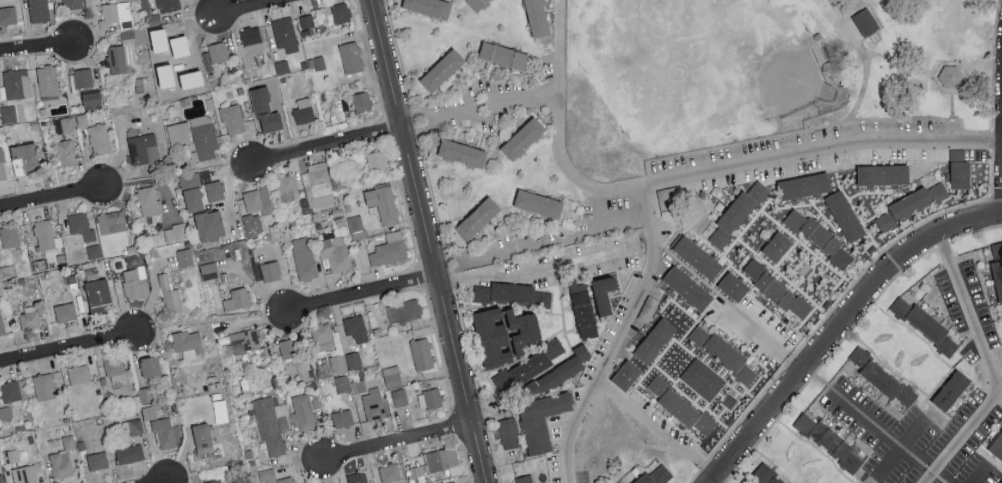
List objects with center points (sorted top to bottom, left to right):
building: (72, 3)
building: (476, 3)
building: (168, 5)
road: (241, 6)
building: (428, 7)
building: (38, 10)
building: (341, 12)
building: (118, 13)
building: (150, 13)
building: (8, 15)
building: (535, 18)
building: (306, 21)
building: (866, 22)
building: (285, 34)
building: (121, 37)
road: (36, 43)
building: (250, 45)
building: (177, 47)
building: (218, 51)
building: (120, 57)
building: (351, 57)
building: (504, 57)
road: (865, 57)
road: (941, 63)
building: (282, 66)
park: (755, 66)
building: (441, 72)
building: (81, 77)
park: (771, 77)
building: (950, 77)
road: (993, 79)
building: (48, 80)
building: (17, 83)
road: (525, 95)
building: (92, 99)
building: (362, 100)
road: (951, 105)
building: (303, 110)
road: (437, 113)
building: (8, 114)
building: (232, 117)
building: (83, 119)
building: (269, 119)
building: (64, 125)
road: (805, 129)
building: (178, 133)
building: (204, 136)
building: (521, 136)
building: (99, 138)
road: (326, 141)
building: (143, 148)
building: (66, 152)
parking lot: (826, 152)
building: (460, 153)
building: (25, 157)
building: (376, 161)
building: (2, 165)
building: (960, 172)
road: (697, 174)
building: (882, 175)
building: (287, 188)
building: (193, 189)
building: (802, 189)
building: (215, 190)
road: (51, 193)
building: (257, 199)
building: (149, 201)
building: (383, 202)
building: (538, 204)
building: (911, 208)
building: (844, 216)
building: (736, 217)
building: (111, 221)
building: (480, 221)
building: (209, 224)
building: (81, 225)
building: (249, 225)
building: (356, 225)
building: (175, 231)
building: (45, 234)
building: (10, 236)
building: (819, 237)
road: (549, 240)
road: (429, 241)
building: (776, 247)
building: (389, 248)
building: (94, 250)
building: (335, 253)
building: (185, 256)
building: (305, 258)
building: (698, 258)
parking lot: (581, 261)
building: (998, 264)
building: (208, 270)
building: (271, 270)
road: (536, 274)
building: (136, 282)
building: (733, 287)
building: (686, 288)
building: (775, 288)
road: (361, 290)
building: (511, 293)
building: (604, 293)
building: (98, 294)
building: (170, 295)
building: (237, 298)
building: (583, 309)
building: (403, 310)
building: (65, 311)
building: (30, 316)
building: (2, 325)
building: (356, 327)
road: (840, 328)
building: (925, 329)
building: (504, 333)
building: (323, 336)
road: (620, 336)
building: (243, 341)
building: (652, 341)
road: (68, 343)
building: (189, 343)
building: (287, 348)
building: (422, 353)
building: (724, 354)
building: (353, 359)
road: (799, 362)
building: (337, 363)
building: (150, 366)
building: (527, 367)
building: (115, 369)
road: (988, 370)
building: (558, 372)
building: (79, 373)
building: (392, 376)
building: (625, 376)
building: (703, 378)
building: (885, 378)
building: (343, 382)
building: (358, 385)
building: (44, 386)
building: (10, 390)
building: (950, 391)
road: (999, 394)
building: (145, 395)
building: (400, 396)
building: (430, 398)
building: (374, 403)
building: (680, 406)
building: (305, 410)
building: (342, 417)
building: (541, 420)
building: (272, 423)
building: (134, 426)
road: (657, 429)
building: (167, 432)
parking lot: (965, 432)
building: (509, 434)
road: (397, 437)
building: (203, 439)
building: (828, 443)
building: (997, 447)
building: (129, 453)
building: (63, 458)
building: (441, 458)
building: (97, 460)
building: (390, 472)
building: (24, 474)
building: (267, 474)
building: (658, 476)
building: (767, 476)
building: (357, 477)
building: (2, 478)
parking lot: (911, 479)
road: (155, 480)
building: (286, 480)
building: (529, 480)
building: (214, 481)
building: (441, 482)
building: (1001, 482)

